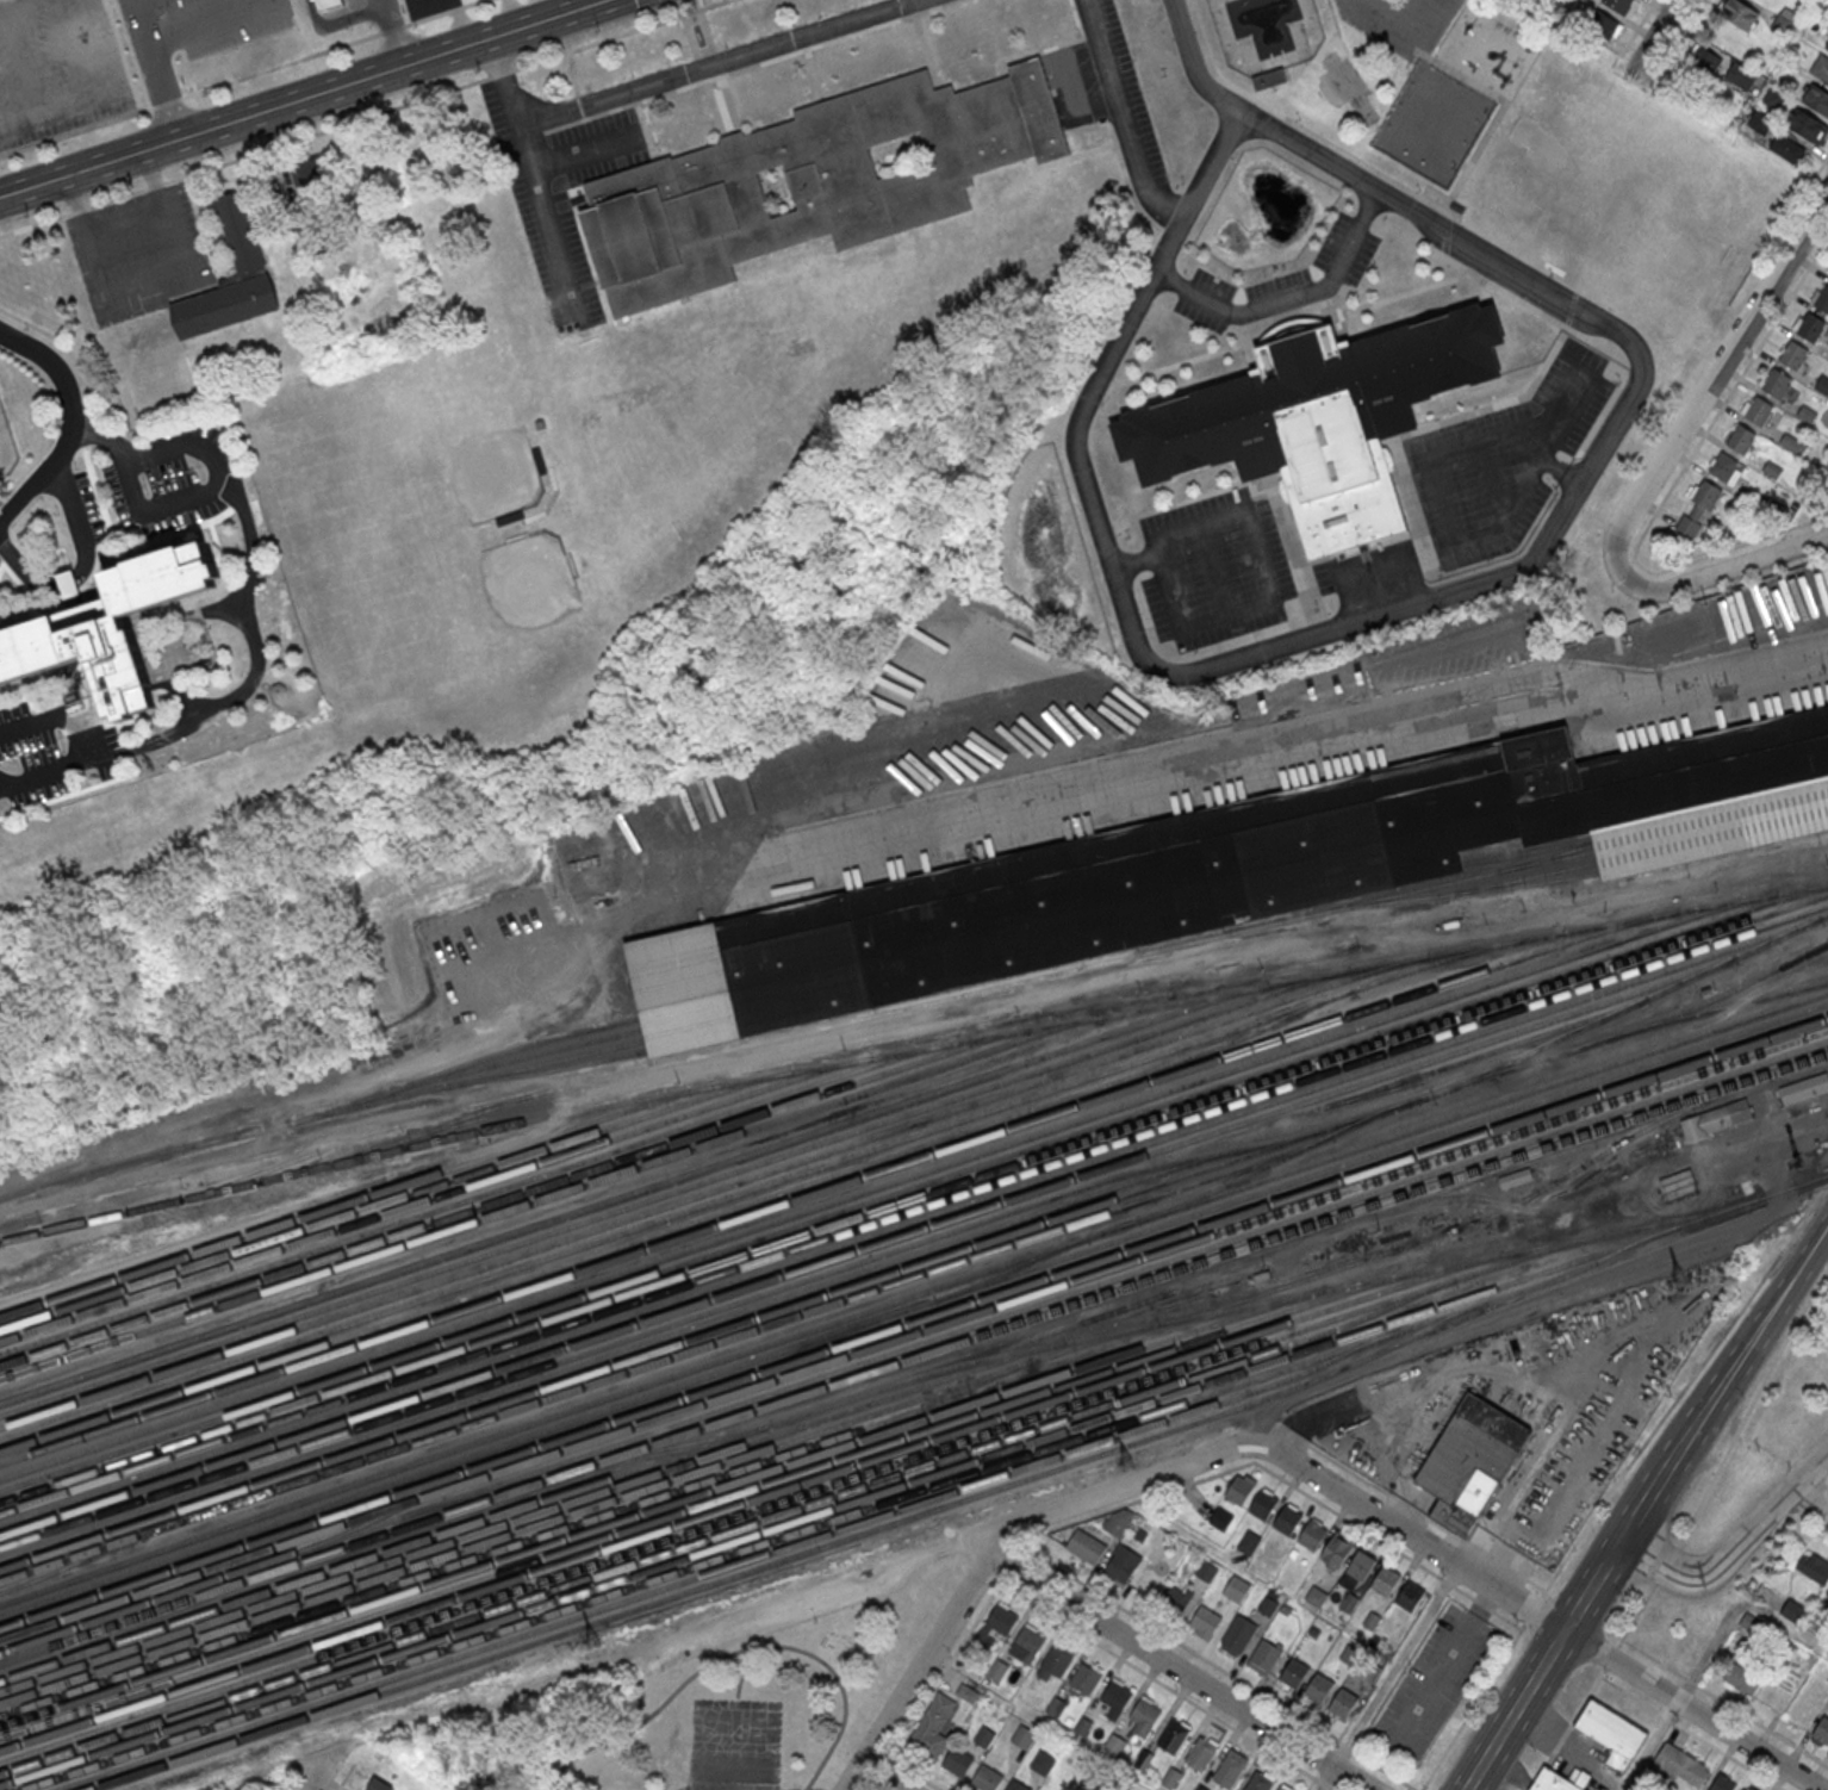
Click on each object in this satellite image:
building: (1, 0)
parking lot: (409, 1)
parking lot: (357, 2)
road: (471, 2)
road: (655, 2)
road: (702, 4)
building: (329, 5)
building: (1618, 5)
road: (24, 7)
road: (455, 7)
building: (1737, 12)
road: (393, 13)
road: (659, 13)
road: (512, 15)
road: (427, 17)
road: (695, 17)
road: (1333, 18)
road: (342, 21)
parking lot: (1401, 21)
road: (210, 23)
road: (462, 23)
building: (1600, 23)
building: (1782, 24)
road: (1410, 26)
road: (1637, 26)
road: (391, 27)
parking lot: (194, 32)
road: (618, 33)
road: (1658, 35)
road: (1680, 38)
building: (1827, 44)
road: (1056, 45)
road: (1344, 46)
road: (70, 49)
road: (925, 50)
road: (704, 51)
building: (1704, 58)
road: (24, 63)
road: (722, 63)
road: (750, 64)
building: (1820, 67)
parking lot: (57, 69)
road: (157, 72)
road: (502, 73)
road: (814, 73)
road: (247, 76)
building: (1269, 77)
building: (1746, 77)
road: (715, 83)
park: (1345, 87)
road: (100, 93)
building: (1774, 97)
building: (1817, 98)
road: (305, 101)
road: (1499, 111)
road: (1128, 116)
park: (1434, 122)
building: (1760, 122)
road: (1300, 125)
building: (1808, 125)
road: (646, 128)
road: (729, 129)
road: (533, 135)
road: (56, 137)
building: (1789, 148)
road: (245, 155)
park: (1560, 166)
road: (1821, 167)
building: (309, 179)
road: (535, 179)
building: (812, 182)
park: (1633, 192)
road: (1367, 203)
road: (1449, 215)
building: (240, 231)
road: (1447, 234)
parking lot: (1347, 248)
road: (1444, 253)
parking lot: (142, 254)
road: (1496, 257)
building: (1827, 272)
road: (1169, 280)
road: (1798, 281)
parking lot: (1279, 286)
road: (1288, 296)
parking lot: (1206, 298)
building: (1822, 298)
road: (1573, 300)
building: (224, 304)
road: (1531, 305)
road: (1289, 312)
road: (1339, 317)
building: (1810, 325)
road: (1293, 328)
road: (62, 343)
road: (1248, 344)
building: (1793, 354)
road: (1636, 361)
street lamp: (1619, 381)
building: (1777, 381)
road: (1709, 383)
building: (1822, 384)
building: (1759, 410)
road: (1602, 412)
building: (1807, 412)
building: (1320, 417)
road: (1450, 417)
road: (62, 418)
road: (88, 427)
building: (1742, 437)
building: (1792, 443)
park: (448, 450)
parking lot: (1503, 459)
road: (210, 461)
road: (1552, 465)
building: (1724, 466)
building: (1771, 468)
park: (537, 470)
road: (1432, 474)
road: (1273, 479)
parking lot: (155, 484)
road: (97, 489)
road: (70, 505)
building: (1698, 509)
road: (1201, 524)
road: (1644, 530)
road: (1353, 548)
road: (1262, 553)
road: (1493, 557)
road: (1136, 561)
parking lot: (0, 564)
road: (1113, 568)
road: (1213, 568)
parking lot: (1214, 568)
road: (1723, 570)
road: (1333, 572)
building: (68, 583)
road: (1167, 584)
park: (515, 605)
street lamp: (1318, 608)
road: (1345, 608)
road: (1227, 611)
road: (1517, 622)
building: (108, 626)
road: (1320, 628)
road: (256, 639)
street lamp: (1195, 651)
parking lot: (55, 736)
road: (88, 744)
road: (1329, 746)
railway: (1528, 851)
railway: (1547, 856)
building: (1227, 870)
railway: (1519, 877)
railway: (1459, 890)
road: (1450, 936)
railway: (1724, 992)
railway: (953, 994)
railway: (1623, 1006)
railway: (866, 1037)
road: (873, 1044)
railway: (910, 1048)
railway: (1485, 1051)
railway: (514, 1057)
railway: (467, 1062)
railway: (545, 1069)
building: (1804, 1088)
road: (465, 1096)
railway: (321, 1113)
building: (1717, 1119)
railway: (272, 1151)
railway: (285, 1161)
railway: (1270, 1161)
railway: (112, 1171)
building: (1519, 1176)
railway: (1808, 1182)
railway: (838, 1183)
railway: (887, 1183)
railway: (760, 1186)
railway: (913, 1186)
railway: (713, 1188)
railway: (634, 1191)
railway: (673, 1191)
railway: (554, 1193)
railway: (474, 1194)
railway: (515, 1194)
railway: (435, 1197)
railway: (396, 1198)
railway: (914, 1198)
railway: (355, 1199)
railway: (913, 1208)
railway: (909, 1220)
railway: (1474, 1220)
railway: (678, 1225)
railway: (868, 1245)
railway: (910, 1266)
railway: (1012, 1267)
power tower: (1680, 1280)
railway: (1341, 1286)
railway: (913, 1294)
railway: (913, 1305)
road: (1764, 1318)
railway: (913, 1320)
railway: (658, 1328)
railway: (913, 1332)
railway: (914, 1344)
railway: (617, 1351)
railway: (792, 1353)
railway: (913, 1356)
railway: (666, 1357)
road: (1685, 1385)
road: (1751, 1405)
railway: (573, 1438)
building: (1472, 1459)
power tower: (1127, 1463)
road: (1238, 1466)
road: (1372, 1483)
road: (1515, 1484)
railway: (894, 1486)
road: (1826, 1486)
road: (1113, 1487)
building: (1239, 1490)
railway: (800, 1494)
railway: (540, 1499)
railway: (745, 1502)
railway: (705, 1503)
building: (1263, 1504)
road: (1808, 1504)
railway: (660, 1506)
railway: (574, 1511)
railway: (850, 1512)
railway: (531, 1515)
railway: (371, 1518)
building: (1221, 1518)
building: (1287, 1518)
building: (1118, 1522)
road: (1808, 1525)
railway: (728, 1529)
building: (1312, 1534)
road: (1009, 1535)
railway: (521, 1541)
building: (1249, 1541)
road: (1475, 1546)
building: (1086, 1547)
road: (1734, 1547)
building: (1338, 1548)
railway: (790, 1555)
railway: (69, 1562)
road: (1013, 1564)
building: (1361, 1564)
road: (1667, 1564)
railway: (729, 1565)
building: (1121, 1565)
building: (1813, 1568)
road: (1515, 1570)
building: (1205, 1571)
road: (987, 1572)
building: (1385, 1579)
road: (1447, 1581)
building: (1236, 1587)
road: (1462, 1591)
building: (1827, 1593)
building: (1316, 1595)
building: (1410, 1595)
railway: (166, 1599)
building: (1176, 1599)
road: (1581, 1602)
road: (1482, 1604)
road: (1532, 1608)
building: (1793, 1612)
road: (1536, 1614)
road: (1636, 1614)
building: (1205, 1620)
road: (1507, 1620)
building: (999, 1622)
building: (1749, 1623)
building: (1239, 1631)
road: (1179, 1640)
power tower: (593, 1641)
building: (1028, 1646)
building: (1264, 1657)
road: (1610, 1657)
building: (1056, 1661)
road: (947, 1666)
road: (1441, 1667)
road: (916, 1671)
building: (996, 1671)
road: (1182, 1671)
building: (1293, 1672)
road: (740, 1676)
road: (1156, 1677)
road: (1386, 1677)
building: (1086, 1678)
parking lot: (1434, 1680)
building: (1742, 1680)
building: (1318, 1686)
road: (840, 1689)
building: (968, 1693)
building: (1115, 1697)
building: (1343, 1702)
road: (1724, 1702)
building: (1056, 1705)
road: (1472, 1705)
park: (730, 1709)
building: (1144, 1716)
road: (646, 1721)
building: (932, 1728)
road: (1566, 1728)
road: (1691, 1732)
building: (1821, 1732)
building: (1612, 1733)
building: (1173, 1735)
building: (1024, 1736)
building: (1114, 1742)
road: (1344, 1744)
park: (734, 1745)
road: (1649, 1746)
building: (1201, 1753)
building: (958, 1759)
building: (1043, 1763)
building: (1681, 1765)
road: (319, 1767)
building: (1230, 1767)
road: (1382, 1769)
road: (882, 1771)
road: (919, 1772)
road: (344, 1776)
road: (883, 1776)
building: (987, 1777)
road: (291, 1780)
building: (1258, 1782)
road: (1324, 1782)
building: (1555, 1782)
building: (1722, 1783)
building: (377, 1784)
building: (1016, 1785)
road: (872, 1786)
building: (1281, 1788)
road: (1335, 1788)
building: (1749, 1788)
road: (872, 1789)

